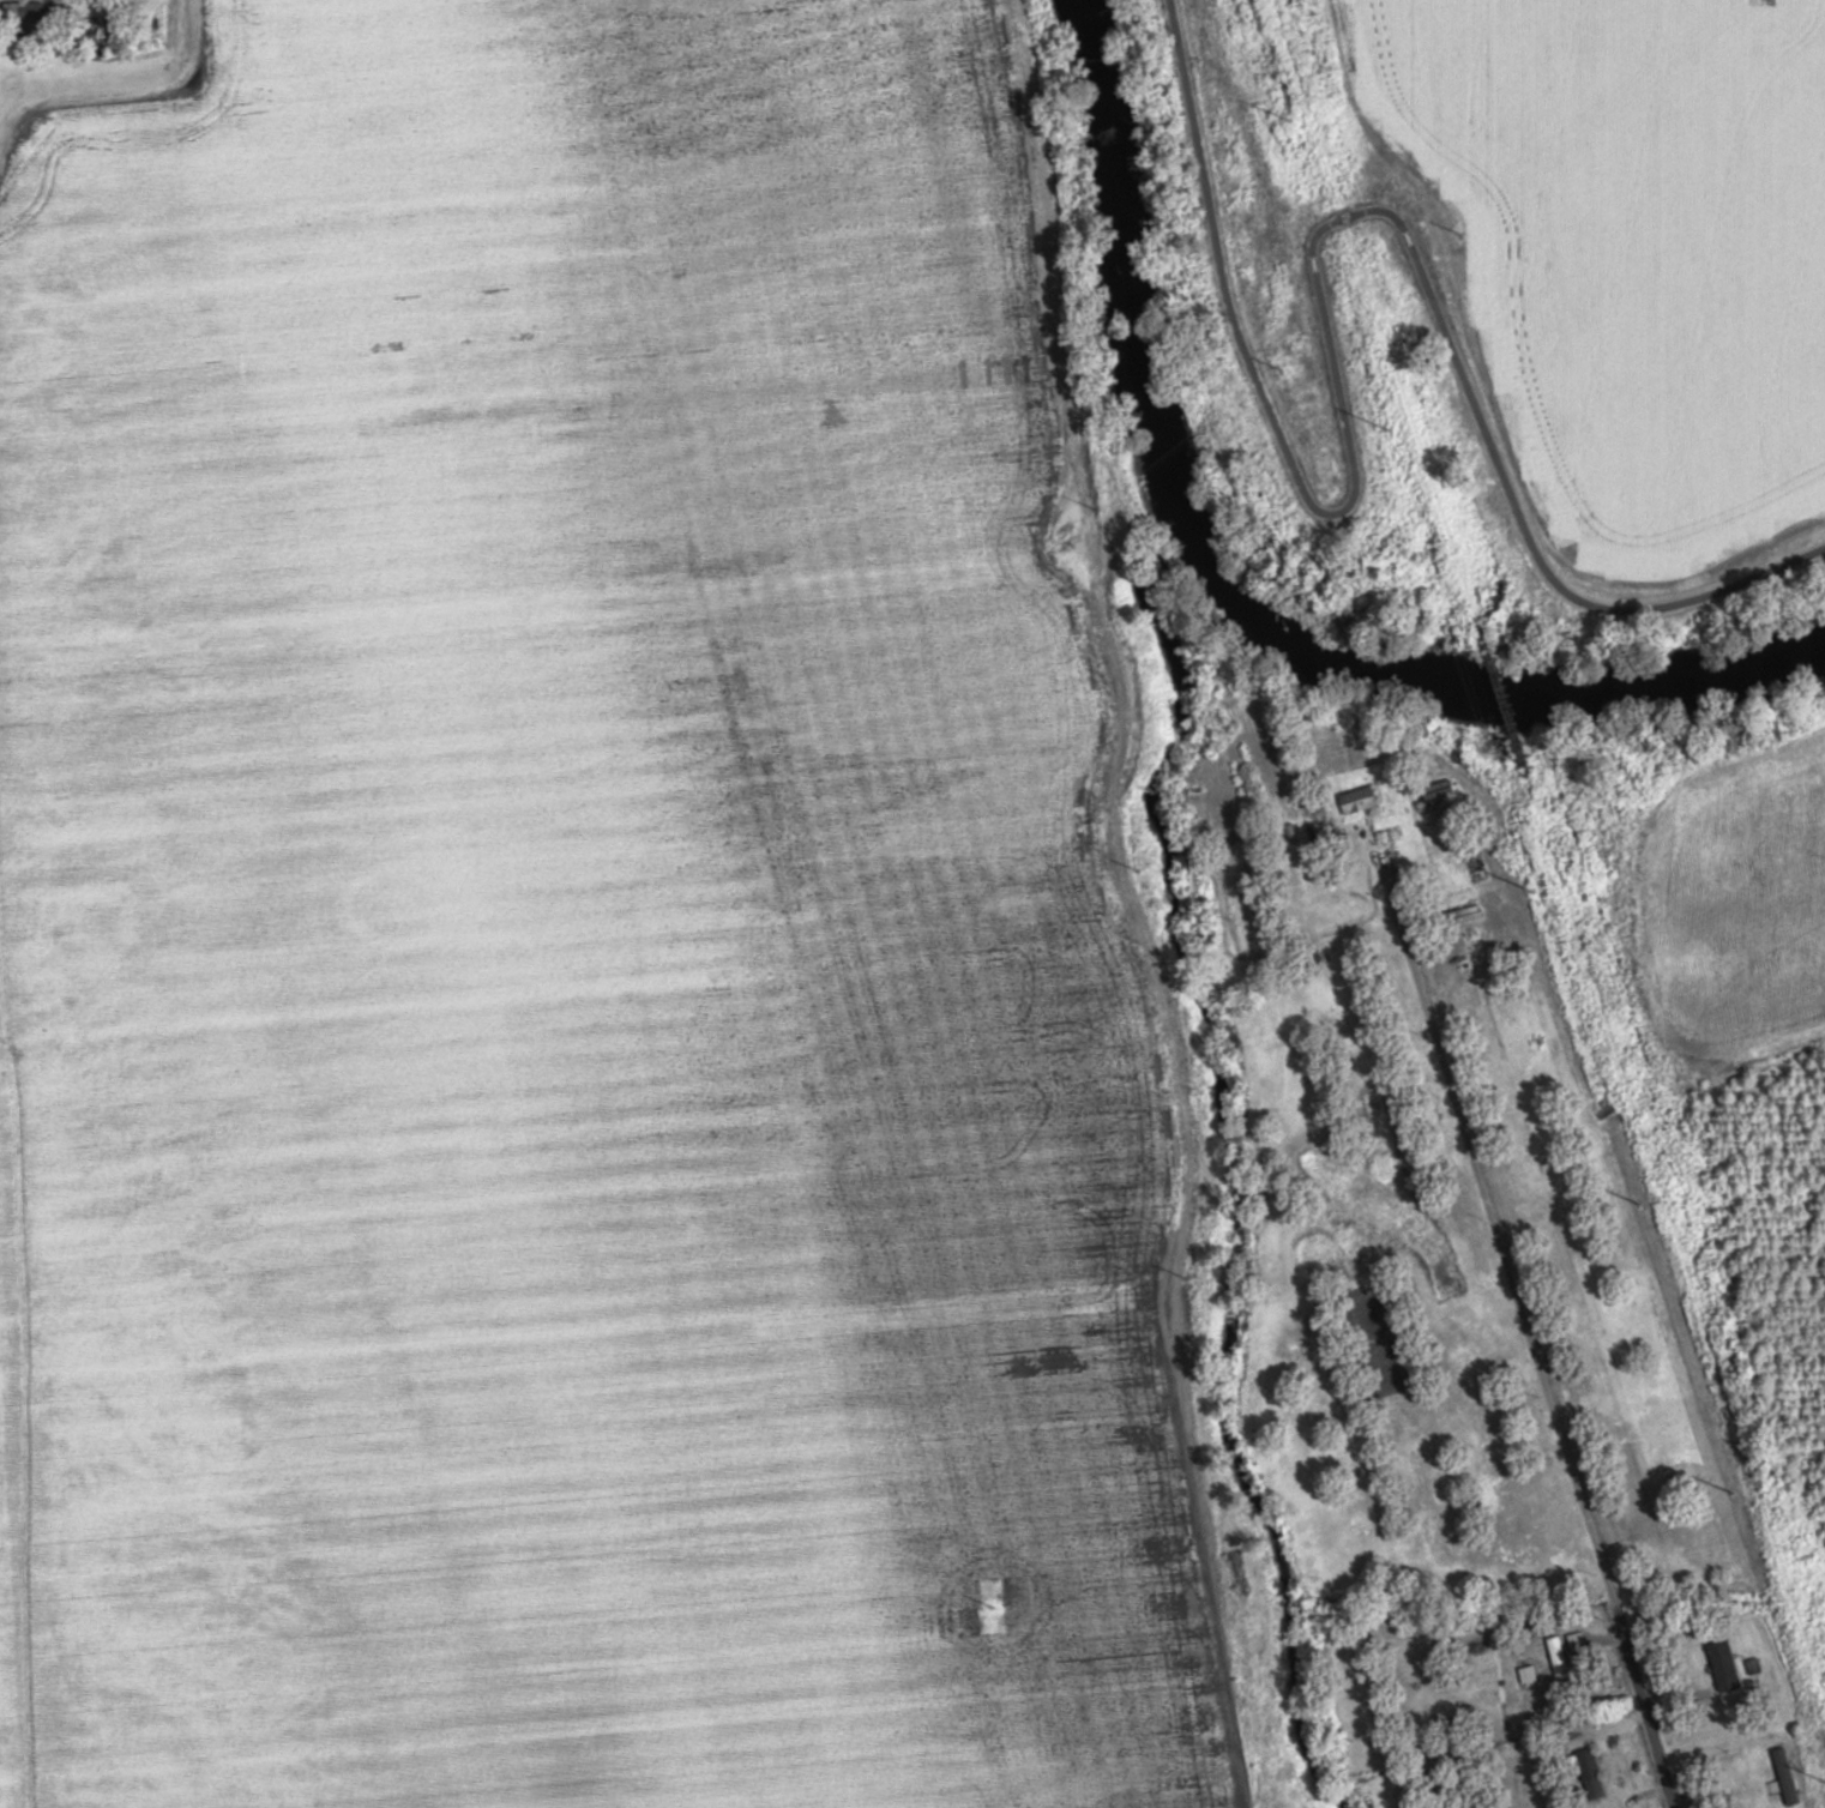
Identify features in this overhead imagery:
building: (31, 11)
road: (118, 74)
power tower: (1291, 119)
power tower: (1389, 428)
building: (1436, 790)
building: (1357, 801)
railway: (1550, 849)
power tower: (1532, 887)
power tower: (1642, 1201)
power tower: (1734, 1489)
building: (1577, 1641)
building: (1559, 1662)
building: (1724, 1665)
building: (1752, 1665)
road: (1644, 1698)
road: (1493, 1720)
building: (1588, 1765)

